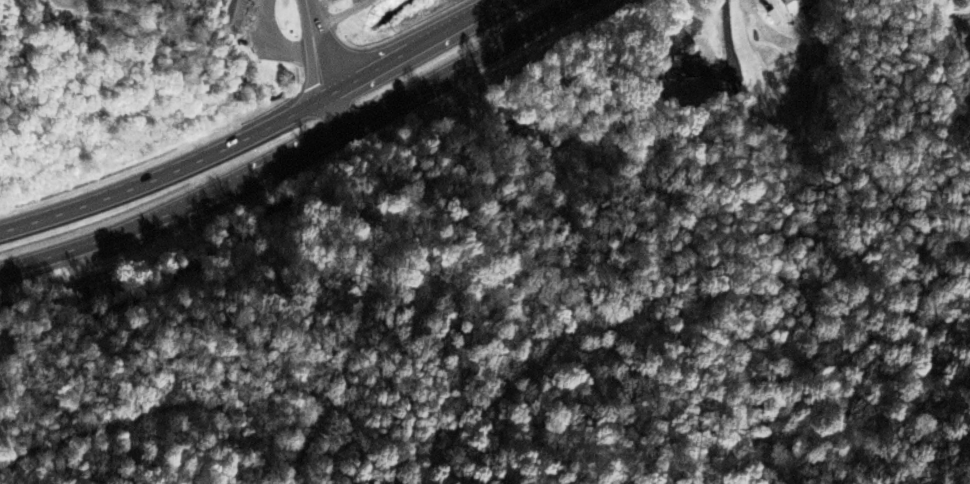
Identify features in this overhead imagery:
building: (800, 5)
building: (238, 12)
road: (343, 15)
road: (728, 32)
road: (325, 60)
building: (685, 70)
road: (259, 130)
road: (292, 147)
road: (200, 407)

